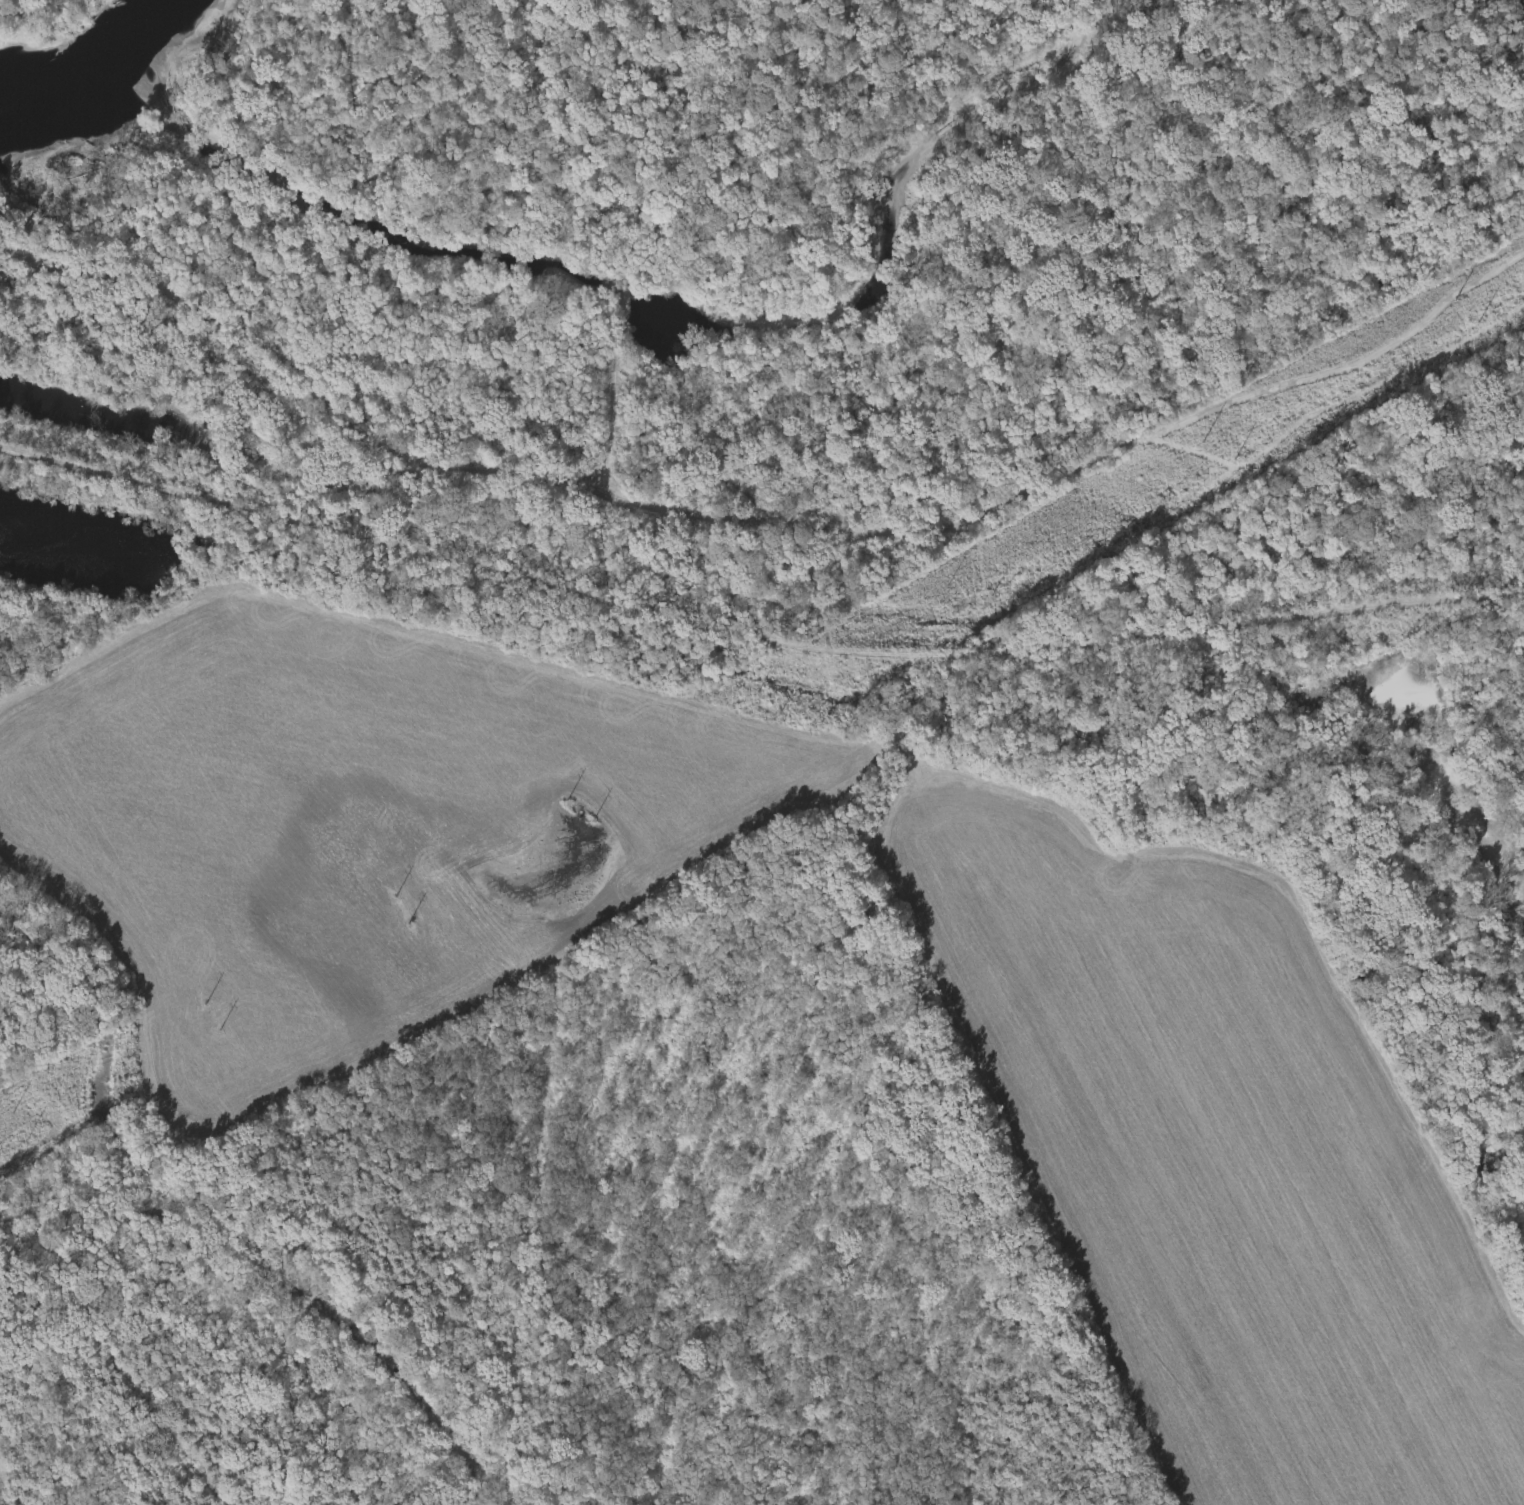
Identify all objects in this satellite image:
river: (100, 79)

